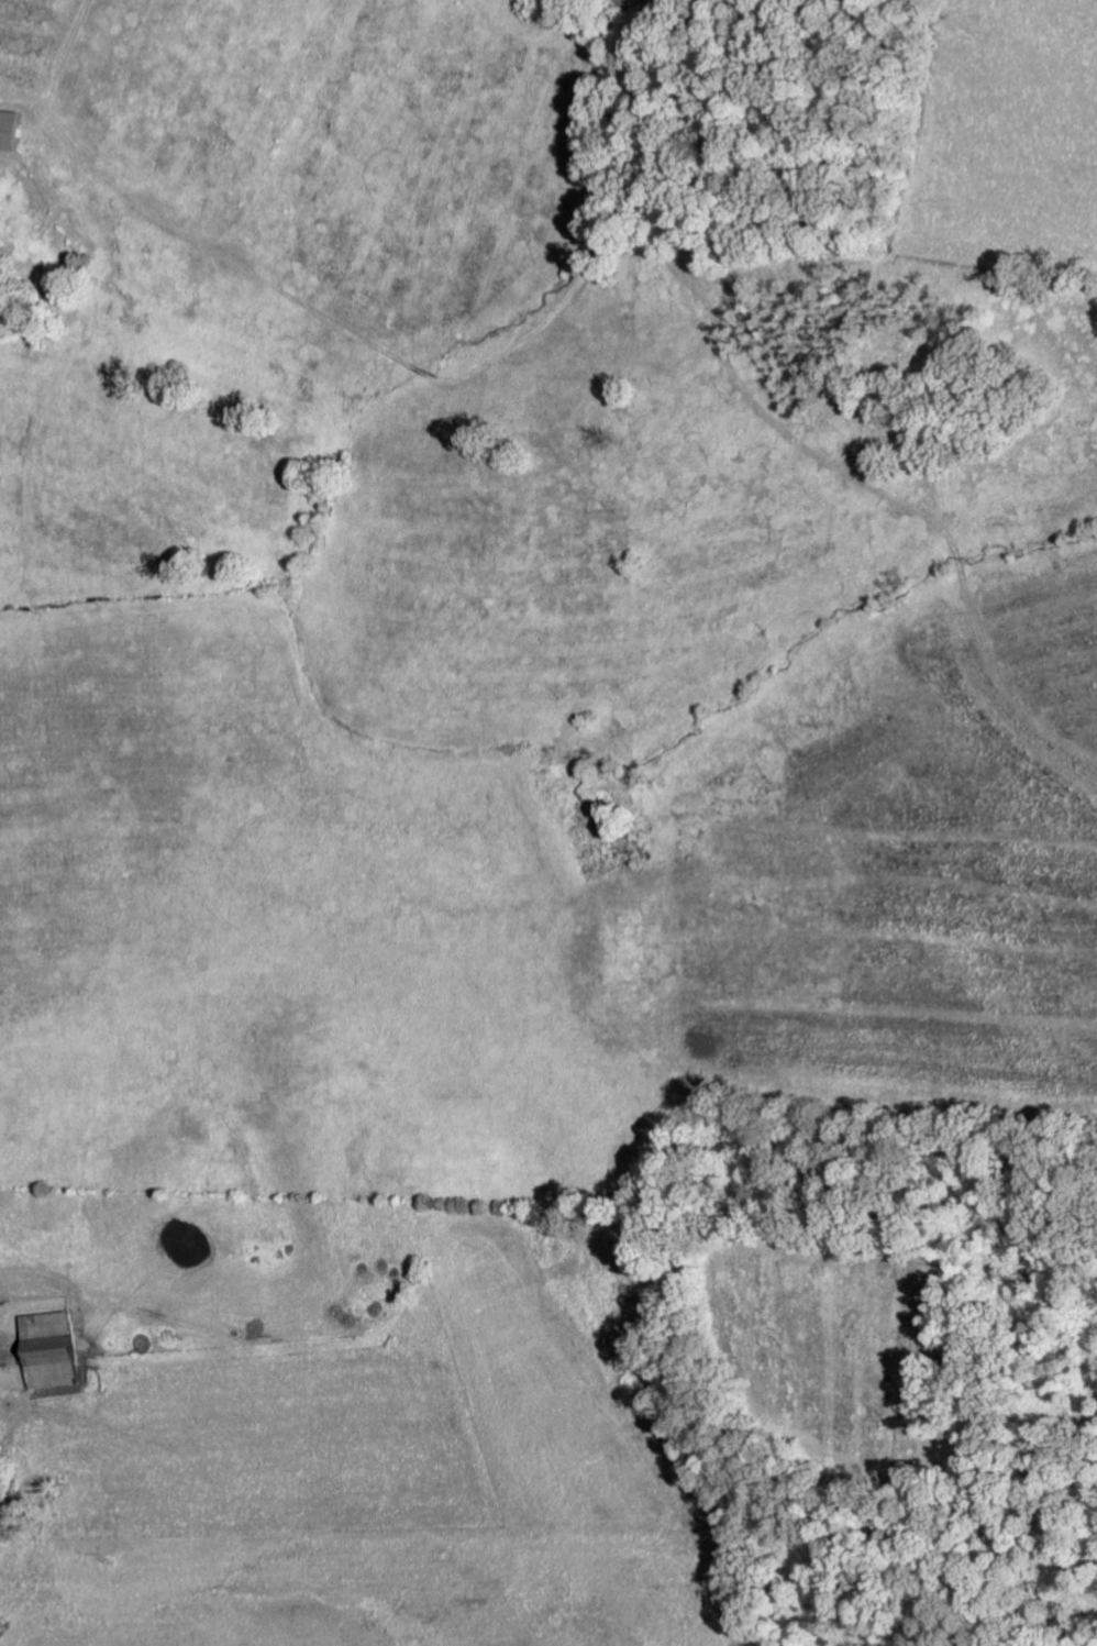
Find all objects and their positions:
building: (11, 129)
road: (953, 199)
road: (344, 1335)
building: (49, 1350)

